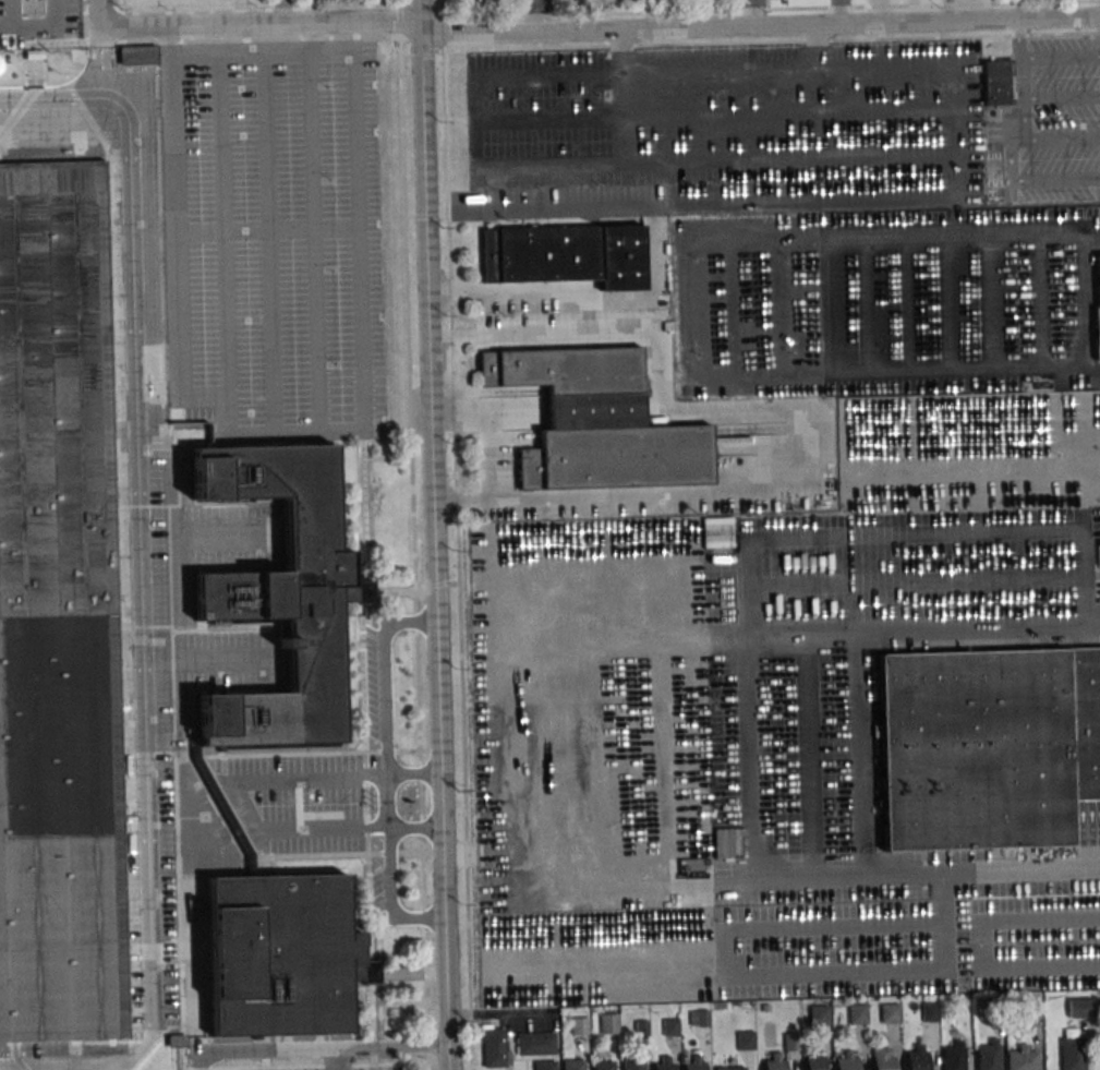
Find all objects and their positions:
road: (399, 3)
road: (117, 8)
road: (443, 8)
road: (771, 8)
road: (261, 10)
road: (950, 10)
road: (98, 12)
road: (842, 12)
road: (881, 12)
road: (12, 13)
road: (56, 13)
road: (757, 13)
road: (278, 14)
road: (422, 15)
road: (540, 16)
road: (400, 22)
road: (86, 23)
parking lot: (43, 24)
road: (59, 26)
road: (119, 26)
road: (761, 26)
road: (7, 27)
road: (264, 28)
road: (444, 32)
road: (259, 39)
road: (772, 41)
road: (423, 52)
building: (138, 55)
road: (1061, 55)
road: (1022, 79)
building: (996, 84)
road: (821, 91)
road: (1061, 95)
road: (627, 96)
road: (52, 103)
road: (726, 113)
parking lot: (1051, 121)
parking lot: (724, 129)
road: (1062, 136)
road: (726, 159)
road: (1029, 177)
road: (825, 197)
road: (220, 224)
road: (267, 230)
parking lot: (274, 238)
road: (313, 239)
road: (268, 240)
building: (566, 256)
road: (509, 290)
building: (1098, 300)
parking lot: (887, 301)
road: (703, 309)
road: (779, 414)
building: (595, 421)
road: (352, 428)
road: (959, 530)
building: (717, 532)
road: (141, 546)
road: (436, 550)
road: (413, 553)
road: (458, 558)
road: (1080, 565)
road: (767, 586)
building: (282, 592)
building: (57, 613)
road: (906, 630)
road: (388, 672)
parking lot: (787, 731)
building: (988, 749)
road: (859, 757)
road: (806, 758)
road: (233, 792)
road: (418, 826)
building: (728, 842)
road: (392, 845)
road: (918, 879)
road: (1041, 919)
road: (812, 926)
building: (279, 952)
road: (1037, 965)
road: (882, 971)
building: (1079, 1007)
building: (763, 1008)
building: (1031, 1009)
building: (992, 1010)
building: (929, 1011)
building: (890, 1012)
building: (857, 1013)
building: (818, 1014)
building: (698, 1017)
building: (608, 1023)
building: (579, 1025)
building: (669, 1026)
building: (641, 1030)
building: (745, 1038)
building: (176, 1041)
building: (791, 1041)
building: (534, 1042)
building: (493, 1046)
road: (324, 1048)
building: (1072, 1054)
building: (952, 1056)
building: (987, 1056)
road: (336, 1058)
building: (916, 1058)
building: (1022, 1058)
building: (881, 1059)
building: (845, 1061)
building: (773, 1062)
building: (812, 1062)
building: (571, 1063)
building: (631, 1063)
building: (663, 1063)
building: (692, 1063)
building: (544, 1065)
building: (602, 1065)
building: (728, 1068)
parking lot: (353, 1069)

